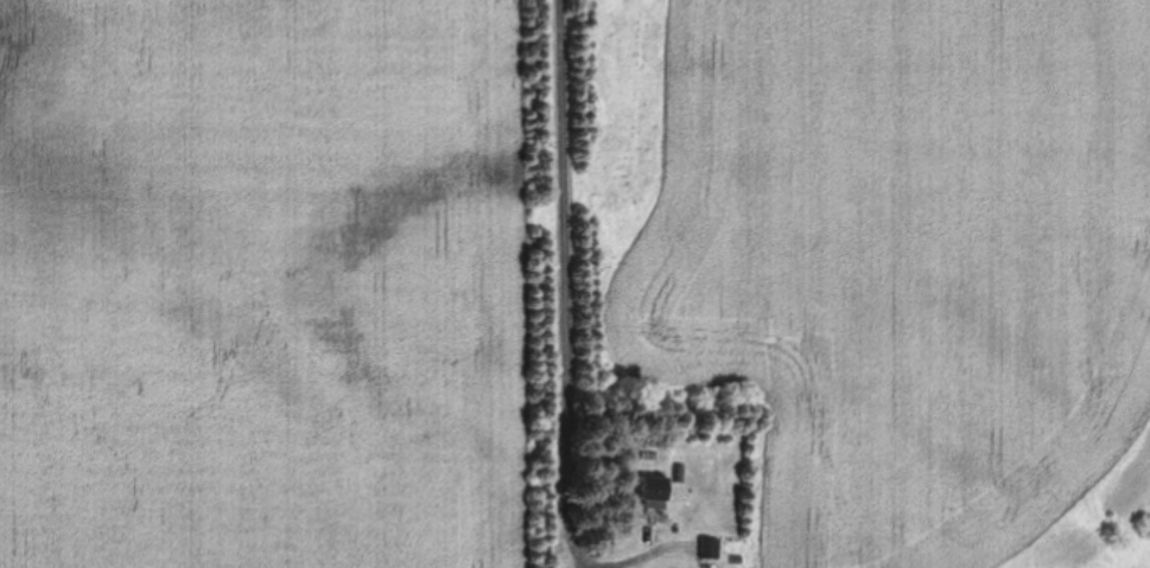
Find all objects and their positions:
road: (570, 283)
building: (654, 486)
building: (710, 547)

